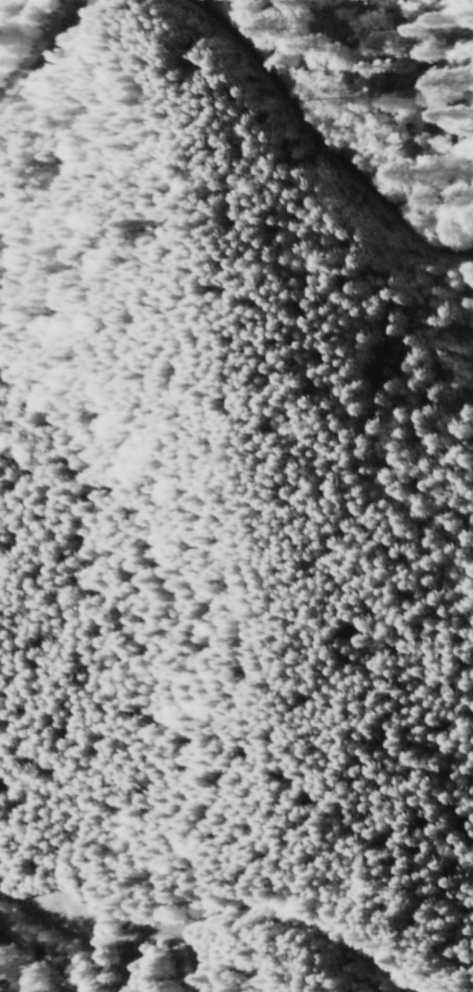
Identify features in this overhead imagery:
road: (37, 47)
road: (319, 147)
road: (287, 921)
road: (151, 927)
road: (67, 950)

